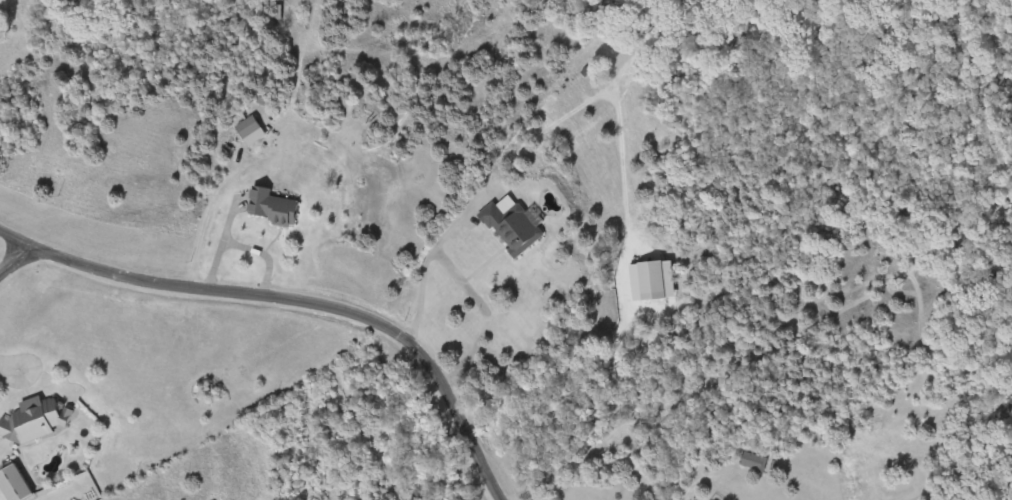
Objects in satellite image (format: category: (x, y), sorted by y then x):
building: (277, 11)
building: (251, 126)
building: (275, 206)
building: (513, 225)
road: (21, 267)
road: (297, 296)
building: (37, 420)
building: (753, 460)
building: (16, 484)

